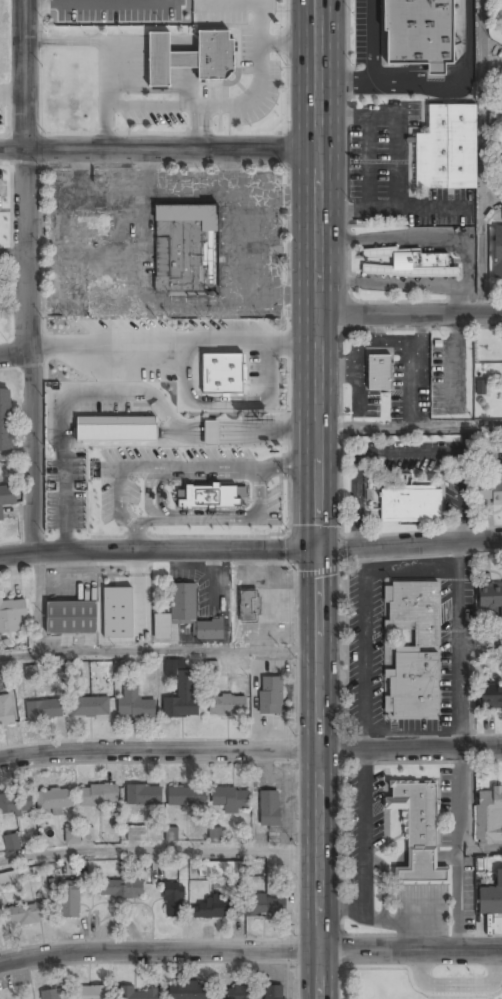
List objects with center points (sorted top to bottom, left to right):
building: (419, 33)
parking lot: (412, 50)
building: (501, 52)
building: (191, 58)
building: (500, 136)
road: (158, 149)
building: (448, 149)
building: (501, 157)
building: (93, 227)
building: (186, 248)
road: (318, 248)
road: (485, 250)
road: (13, 251)
building: (498, 252)
building: (410, 264)
road: (27, 276)
road: (410, 314)
road: (14, 355)
building: (379, 371)
building: (222, 373)
building: (480, 386)
building: (5, 420)
building: (116, 427)
road: (410, 427)
building: (211, 432)
road: (16, 454)
building: (492, 488)
building: (6, 496)
building: (411, 505)
road: (250, 550)
traffic signals: (318, 550)
building: (491, 595)
building: (261, 606)
building: (118, 612)
building: (13, 616)
building: (185, 616)
building: (72, 618)
road: (487, 641)
building: (413, 650)
road: (158, 651)
building: (210, 668)
building: (31, 672)
building: (181, 691)
building: (272, 696)
building: (492, 696)
building: (134, 704)
building: (227, 706)
building: (90, 707)
building: (45, 710)
building: (6, 712)
road: (317, 748)
road: (250, 751)
building: (144, 795)
building: (99, 796)
building: (187, 797)
building: (56, 799)
building: (231, 799)
building: (16, 803)
building: (270, 808)
building: (489, 816)
building: (414, 824)
building: (136, 833)
building: (171, 833)
building: (215, 834)
building: (80, 836)
building: (11, 842)
road: (489, 847)
road: (158, 850)
building: (221, 869)
building: (10, 879)
building: (121, 889)
building: (491, 897)
building: (70, 900)
building: (174, 901)
building: (266, 906)
building: (209, 910)
building: (25, 915)
road: (250, 950)
building: (189, 991)
building: (274, 992)
building: (89, 993)
building: (237, 993)
building: (50, 994)
building: (139, 994)

